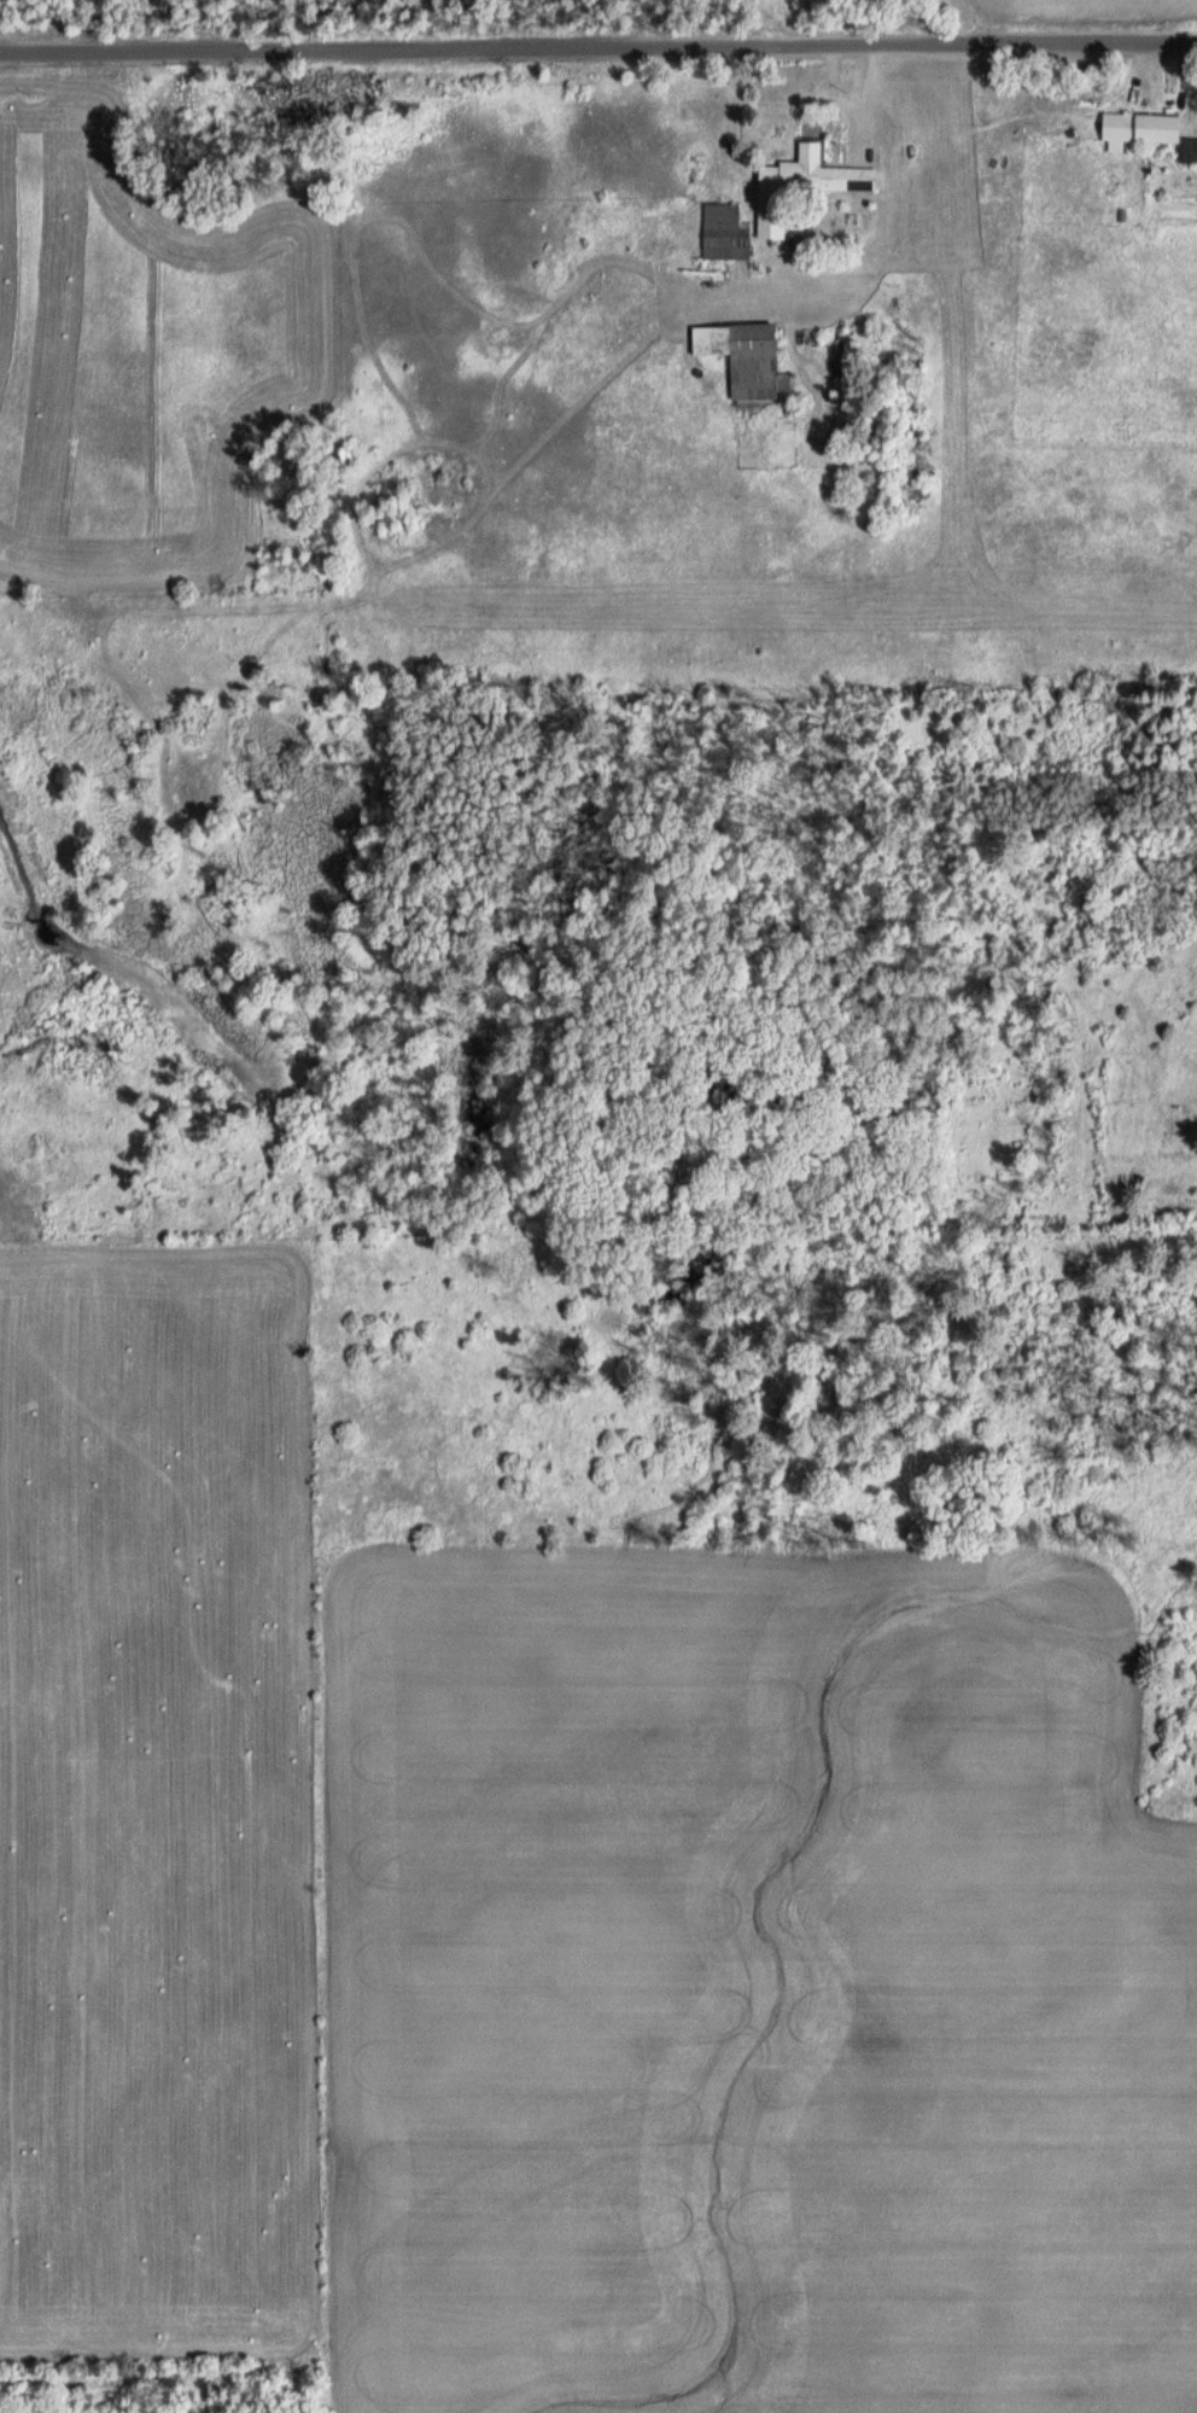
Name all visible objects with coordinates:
road: (598, 46)
building: (1151, 133)
building: (805, 186)
building: (728, 234)
building: (745, 357)

